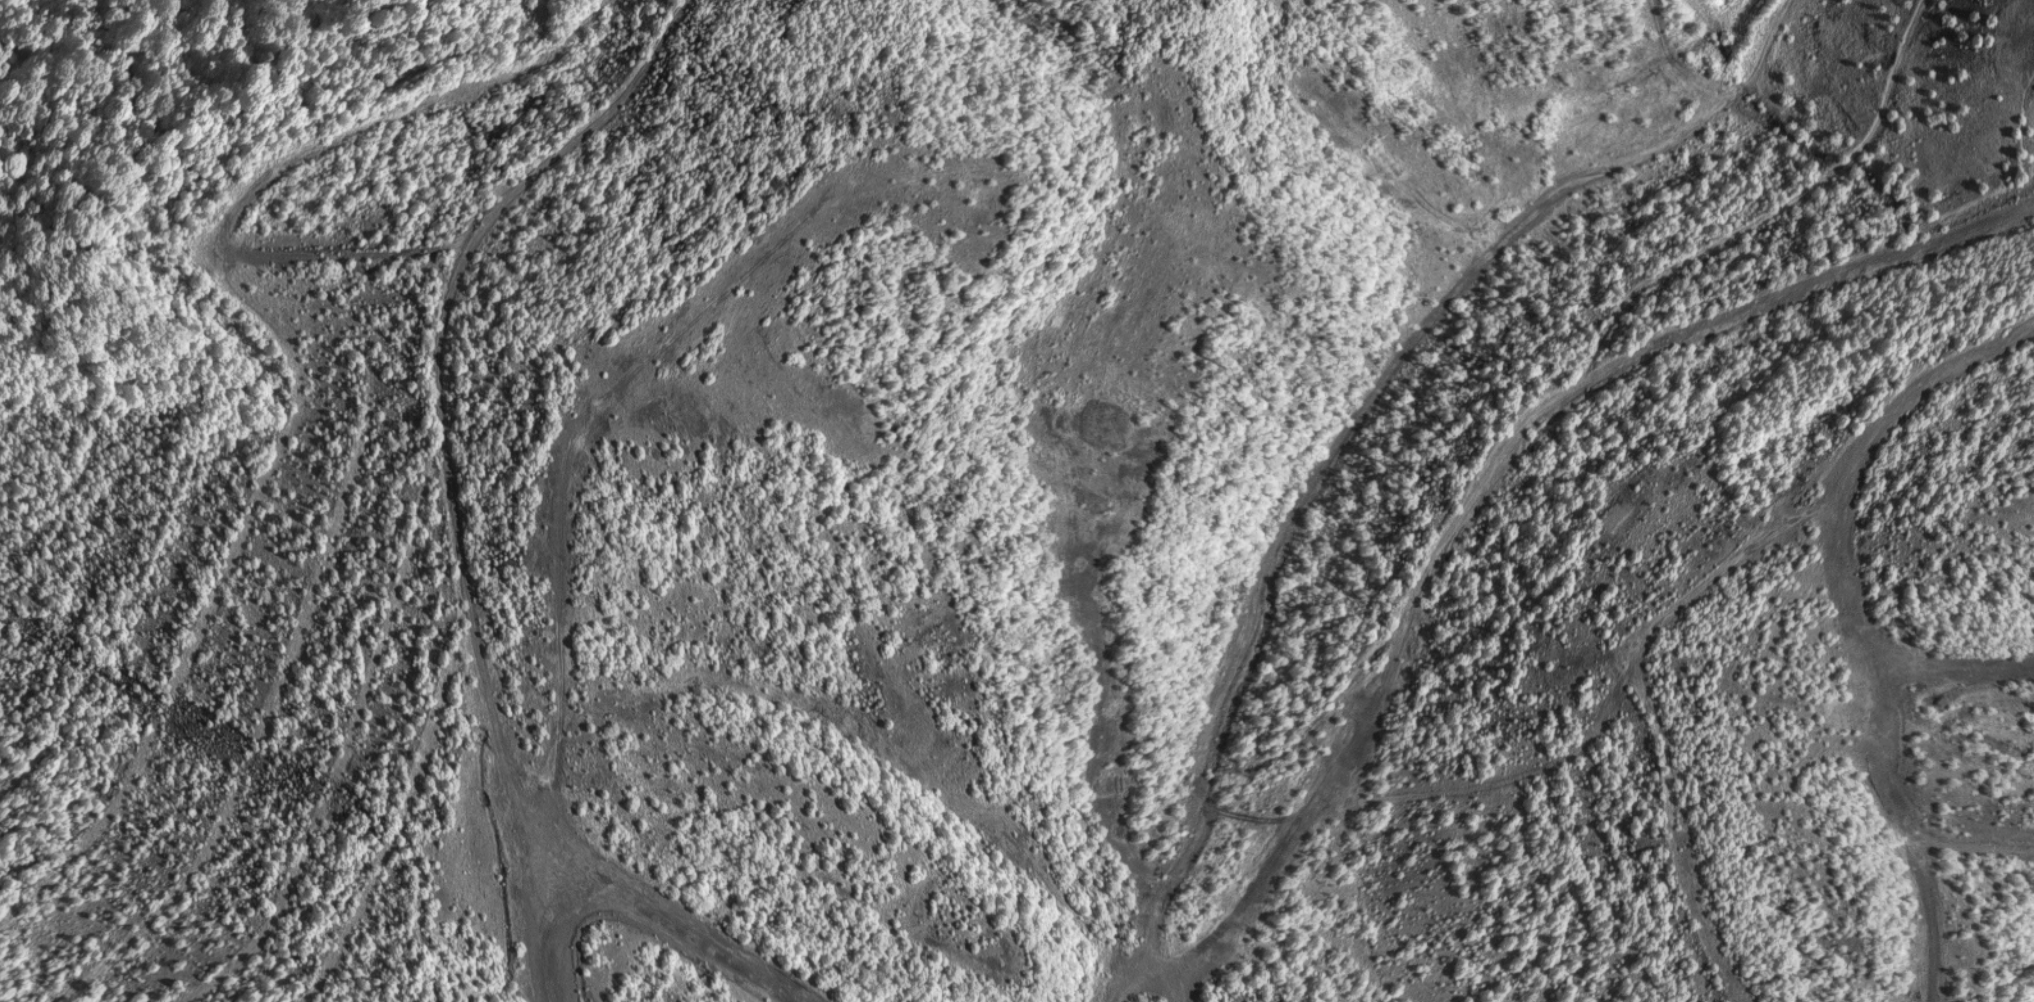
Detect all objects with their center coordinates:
quarry: (1017, 501)

